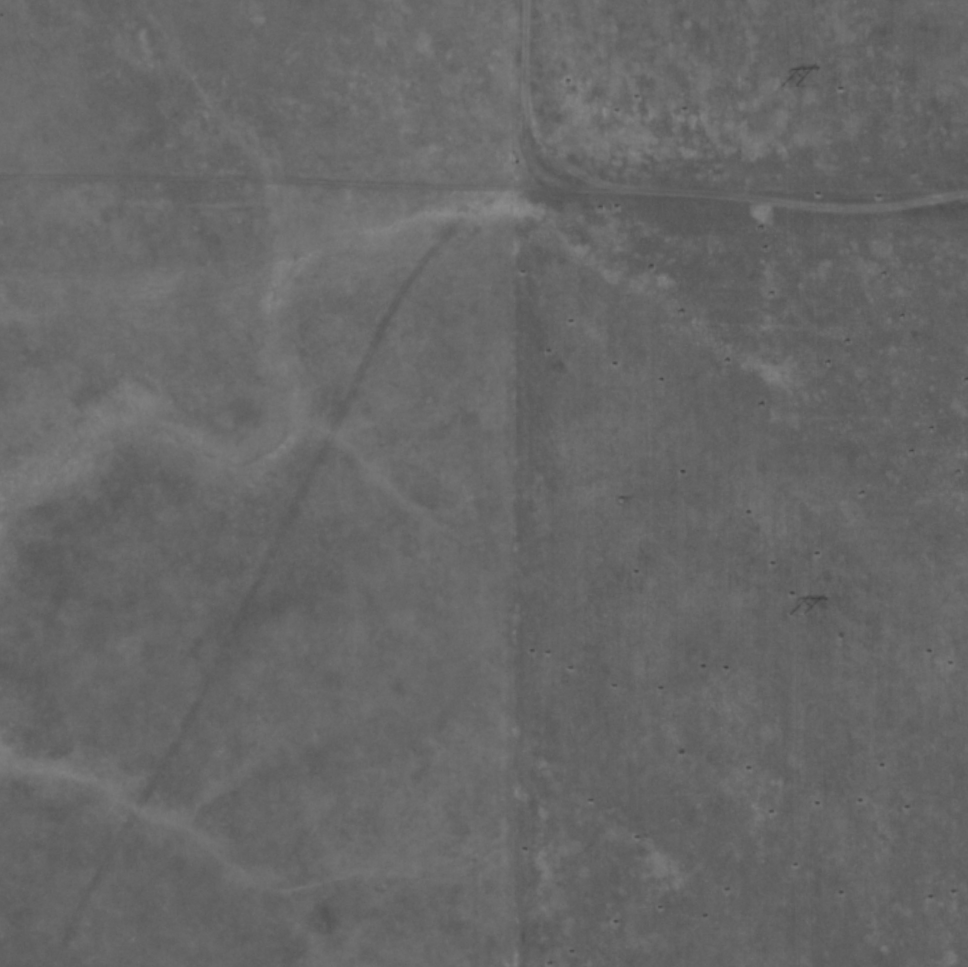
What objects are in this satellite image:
power tower: (781, 86)
power tower: (786, 616)

